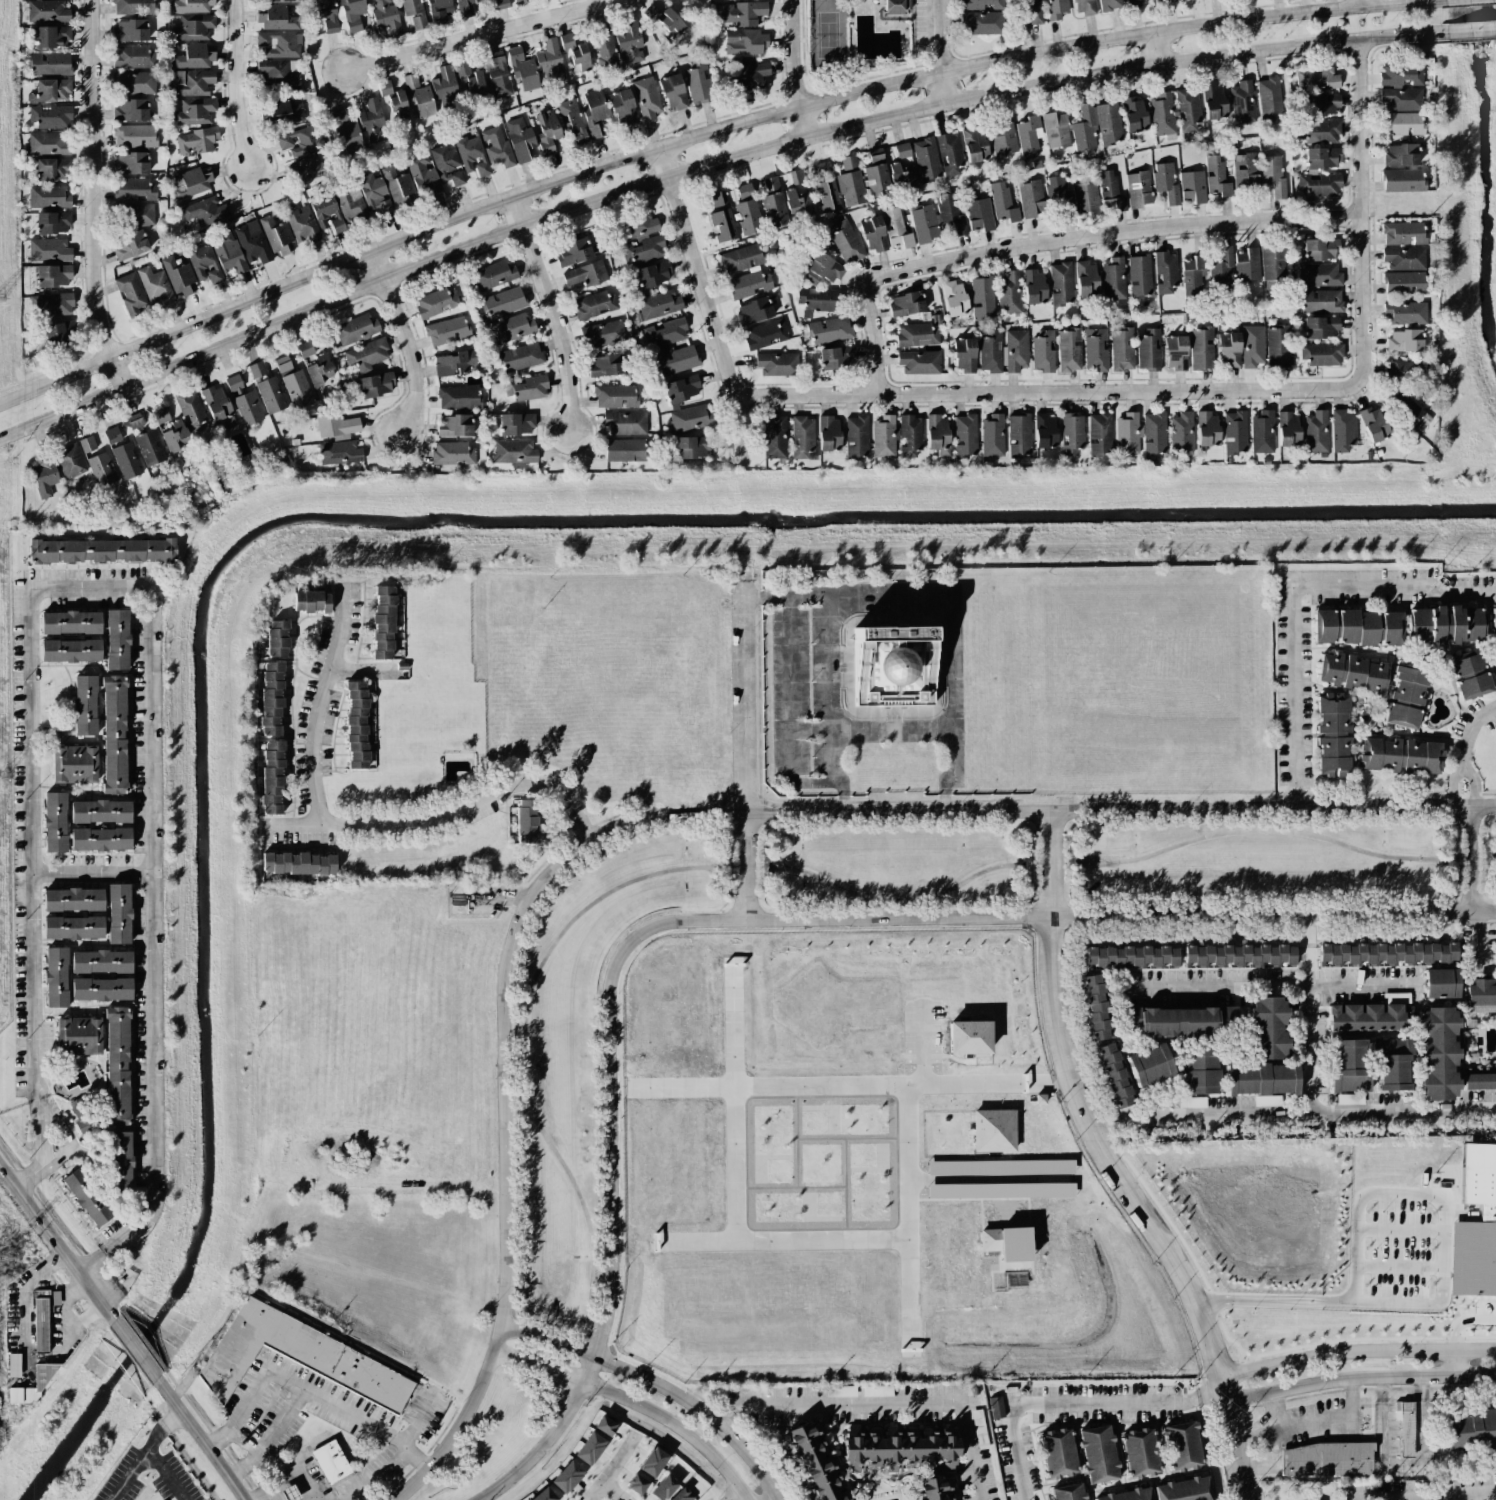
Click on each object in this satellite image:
building: (280, 0)
building: (685, 0)
building: (1132, 0)
building: (522, 1)
building: (1163, 1)
road: (1357, 2)
building: (500, 4)
building: (982, 4)
building: (1109, 5)
building: (191, 6)
building: (897, 6)
building: (133, 7)
building: (466, 7)
building: (1083, 7)
building: (1057, 9)
building: (47, 11)
building: (439, 11)
building: (1031, 11)
building: (413, 12)
building: (743, 12)
building: (327, 14)
building: (352, 14)
building: (386, 17)
building: (276, 18)
building: (665, 20)
building: (981, 22)
building: (193, 27)
building: (130, 30)
road: (1471, 30)
park: (828, 33)
building: (51, 37)
road: (482, 37)
park: (865, 37)
building: (629, 40)
building: (745, 42)
building: (279, 44)
building: (605, 47)
road: (939, 50)
road: (1152, 50)
building: (575, 53)
building: (133, 56)
building: (193, 57)
building: (550, 62)
building: (49, 63)
road: (796, 68)
building: (523, 69)
building: (279, 71)
building: (1399, 74)
building: (499, 76)
building: (748, 76)
building: (469, 78)
building: (1316, 79)
building: (698, 81)
building: (134, 82)
building: (192, 82)
road: (236, 83)
building: (445, 88)
building: (673, 92)
building: (418, 95)
building: (1269, 98)
building: (394, 99)
building: (647, 99)
building: (1401, 99)
building: (1214, 102)
building: (1242, 102)
building: (1321, 105)
building: (622, 107)
building: (1188, 109)
building: (131, 110)
building: (194, 111)
building: (595, 113)
building: (1134, 114)
building: (1162, 114)
building: (51, 116)
building: (572, 119)
building: (372, 120)
building: (1401, 124)
building: (1097, 126)
building: (344, 129)
building: (1055, 130)
building: (547, 131)
building: (1321, 131)
building: (134, 135)
building: (1029, 136)
building: (1003, 137)
building: (520, 139)
road: (690, 139)
building: (197, 140)
building: (297, 141)
building: (47, 143)
building: (975, 144)
building: (497, 147)
building: (902, 150)
building: (1401, 154)
building: (472, 155)
building: (1322, 157)
building: (926, 159)
building: (130, 164)
building: (447, 165)
road: (705, 167)
building: (305, 168)
building: (51, 169)
building: (1245, 170)
building: (423, 173)
building: (1273, 174)
building: (904, 175)
building: (1216, 176)
building: (876, 180)
building: (1403, 180)
building: (1165, 181)
building: (190, 183)
building: (1319, 184)
building: (398, 186)
building: (1192, 186)
building: (826, 187)
building: (133, 189)
building: (1138, 189)
building: (1110, 192)
building: (374, 193)
road: (95, 194)
building: (47, 196)
building: (1059, 197)
building: (1086, 198)
building: (1031, 199)
building: (773, 203)
building: (1003, 203)
building: (339, 207)
building: (205, 211)
building: (747, 211)
building: (952, 213)
road: (1362, 213)
building: (979, 214)
building: (138, 215)
building: (721, 216)
building: (52, 222)
building: (302, 223)
building: (924, 224)
building: (637, 226)
building: (896, 229)
building: (1403, 233)
building: (873, 234)
building: (277, 236)
building: (846, 241)
building: (252, 242)
road: (1055, 244)
building: (129, 245)
building: (1320, 249)
building: (49, 250)
building: (642, 250)
building: (228, 251)
building: (572, 252)
building: (1404, 258)
building: (1273, 262)
building: (204, 263)
building: (1247, 264)
building: (821, 269)
building: (1221, 269)
building: (744, 271)
building: (1166, 272)
building: (1194, 272)
building: (584, 273)
building: (653, 274)
building: (494, 275)
building: (1319, 275)
building: (53, 276)
building: (179, 276)
building: (1126, 277)
building: (1087, 278)
building: (1061, 284)
building: (155, 285)
building: (1034, 286)
building: (1009, 292)
building: (131, 293)
building: (1404, 297)
building: (955, 298)
building: (983, 298)
building: (818, 299)
power tower: (0, 301)
building: (1321, 301)
building: (436, 302)
building: (503, 302)
building: (595, 303)
building: (906, 303)
building: (50, 305)
building: (658, 305)
road: (704, 308)
building: (753, 311)
road: (549, 313)
building: (1321, 327)
building: (512, 328)
building: (356, 329)
building: (446, 330)
building: (830, 330)
building: (60, 333)
building: (603, 333)
building: (764, 334)
building: (666, 335)
building: (916, 335)
road: (402, 340)
building: (1404, 340)
building: (1252, 346)
building: (1277, 346)
building: (1201, 348)
building: (305, 349)
building: (1095, 349)
building: (1122, 349)
building: (1015, 350)
building: (1043, 350)
building: (1069, 350)
building: (1148, 350)
building: (1229, 350)
building: (990, 351)
building: (1175, 352)
building: (367, 354)
building: (1321, 354)
building: (964, 355)
building: (521, 357)
building: (836, 358)
building: (676, 360)
building: (919, 362)
building: (454, 363)
building: (777, 364)
building: (606, 365)
building: (1402, 369)
building: (319, 370)
building: (234, 383)
building: (294, 383)
building: (376, 384)
building: (267, 388)
building: (527, 388)
building: (683, 389)
road: (1044, 393)
building: (616, 396)
building: (457, 397)
building: (216, 402)
building: (1403, 405)
building: (248, 408)
building: (191, 412)
building: (690, 418)
building: (625, 422)
building: (516, 424)
building: (1374, 424)
building: (454, 425)
building: (336, 427)
building: (1207, 429)
building: (1288, 429)
building: (171, 430)
building: (1342, 430)
building: (1044, 431)
building: (1316, 431)
building: (1234, 432)
building: (1261, 432)
building: (829, 433)
building: (1072, 433)
building: (1099, 433)
building: (1127, 433)
building: (1153, 433)
building: (1181, 433)
building: (937, 434)
building: (965, 435)
building: (1018, 435)
building: (896, 436)
building: (991, 436)
building: (774, 437)
building: (802, 437)
building: (856, 437)
building: (147, 442)
building: (692, 446)
building: (625, 450)
building: (339, 452)
building: (513, 452)
building: (452, 453)
building: (123, 454)
building: (69, 461)
building: (98, 462)
building: (44, 478)
river: (356, 518)
building: (102, 550)
road: (1294, 587)
road: (855, 597)
road: (753, 599)
building: (311, 601)
road: (149, 616)
building: (71, 622)
building: (383, 622)
building: (1446, 625)
building: (1358, 627)
building: (1495, 637)
building: (277, 638)
building: (117, 639)
building: (71, 650)
building: (892, 665)
road: (368, 670)
building: (1352, 673)
building: (1469, 674)
road: (746, 692)
road: (951, 696)
building: (1407, 697)
building: (271, 698)
road: (829, 701)
road: (320, 702)
building: (85, 705)
road: (789, 710)
building: (356, 724)
road: (1470, 728)
road: (870, 730)
building: (114, 735)
building: (1333, 735)
building: (1400, 756)
building: (74, 764)
building: (272, 777)
road: (1472, 783)
road: (1453, 784)
road: (943, 802)
road: (841, 803)
building: (100, 811)
road: (678, 813)
road: (430, 818)
building: (525, 821)
building: (54, 822)
building: (511, 823)
road: (581, 824)
building: (100, 839)
building: (298, 864)
road: (749, 866)
road: (92, 872)
road: (944, 889)
road: (1467, 891)
building: (73, 899)
building: (118, 914)
road: (756, 918)
building: (73, 927)
road: (1309, 927)
building: (1387, 954)
building: (1239, 956)
building: (1130, 957)
building: (101, 961)
building: (56, 977)
building: (1441, 983)
road: (1265, 986)
building: (101, 989)
building: (1481, 995)
building: (1096, 1007)
building: (1368, 1016)
building: (1183, 1021)
building: (1267, 1027)
road: (1310, 1030)
building: (78, 1036)
building: (1438, 1053)
building: (1390, 1064)
building: (1149, 1065)
building: (117, 1066)
building: (1349, 1066)
building: (1200, 1070)
building: (1115, 1075)
building: (1262, 1081)
building: (1479, 1081)
building: (1352, 1098)
building: (1192, 1102)
road: (908, 1104)
road: (1309, 1118)
road: (1110, 1127)
building: (993, 1131)
road: (41, 1148)
building: (118, 1161)
road: (1114, 1164)
building: (87, 1198)
building: (1475, 1226)
road: (56, 1242)
building: (1006, 1243)
power tower: (4, 1260)
road: (92, 1265)
road: (1441, 1276)
road: (25, 1288)
building: (43, 1316)
road: (69, 1319)
road: (1463, 1321)
road: (566, 1324)
road: (136, 1350)
road: (1357, 1353)
building: (298, 1357)
road: (1457, 1364)
building: (14, 1365)
road: (615, 1367)
building: (42, 1376)
road: (1360, 1377)
road: (306, 1390)
building: (840, 1391)
building: (877, 1391)
road: (1211, 1392)
road: (891, 1398)
road: (1056, 1400)
road: (633, 1403)
building: (996, 1407)
road: (1310, 1421)
building: (605, 1426)
building: (1405, 1427)
building: (1471, 1429)
road: (269, 1436)
road: (202, 1439)
road: (1272, 1439)
building: (1182, 1446)
building: (902, 1448)
building: (590, 1449)
road: (151, 1453)
building: (1057, 1453)
building: (1139, 1453)
building: (1098, 1454)
road: (399, 1455)
building: (1326, 1459)
road: (292, 1460)
building: (330, 1461)
road: (749, 1461)
building: (813, 1461)
building: (653, 1462)
road: (612, 1468)
road: (129, 1474)
building: (567, 1477)
building: (637, 1484)
building: (664, 1488)
building: (937, 1488)
building: (1184, 1490)
road: (613, 1492)
building: (1068, 1492)
road: (1423, 1492)
road: (265, 1493)
road: (1495, 1494)
building: (544, 1495)
building: (682, 1495)
building: (1128, 1495)
road: (358, 1496)
road: (767, 1497)

